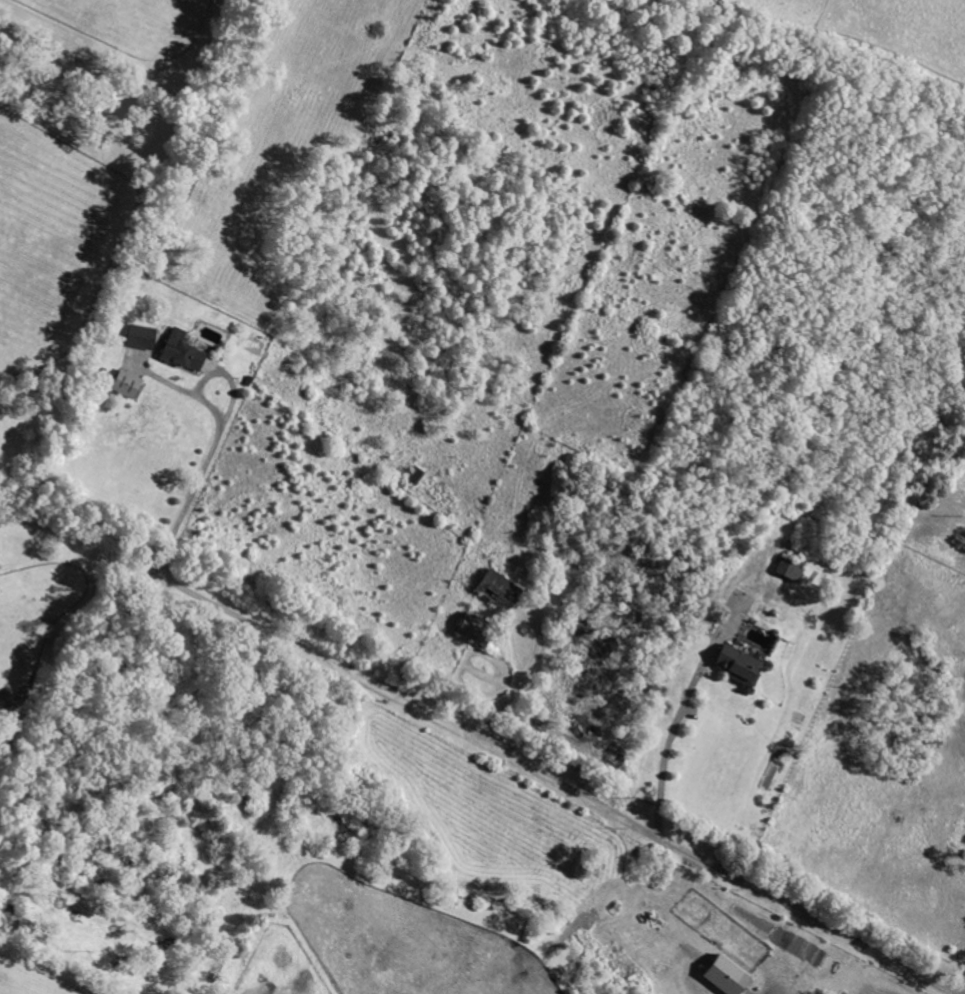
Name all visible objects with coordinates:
building: (139, 337)
building: (180, 352)
building: (123, 384)
road: (215, 441)
building: (788, 570)
building: (494, 589)
building: (465, 626)
road: (539, 637)
building: (734, 664)
road: (671, 737)
road: (561, 787)
road: (676, 959)
building: (722, 976)
road: (962, 987)

